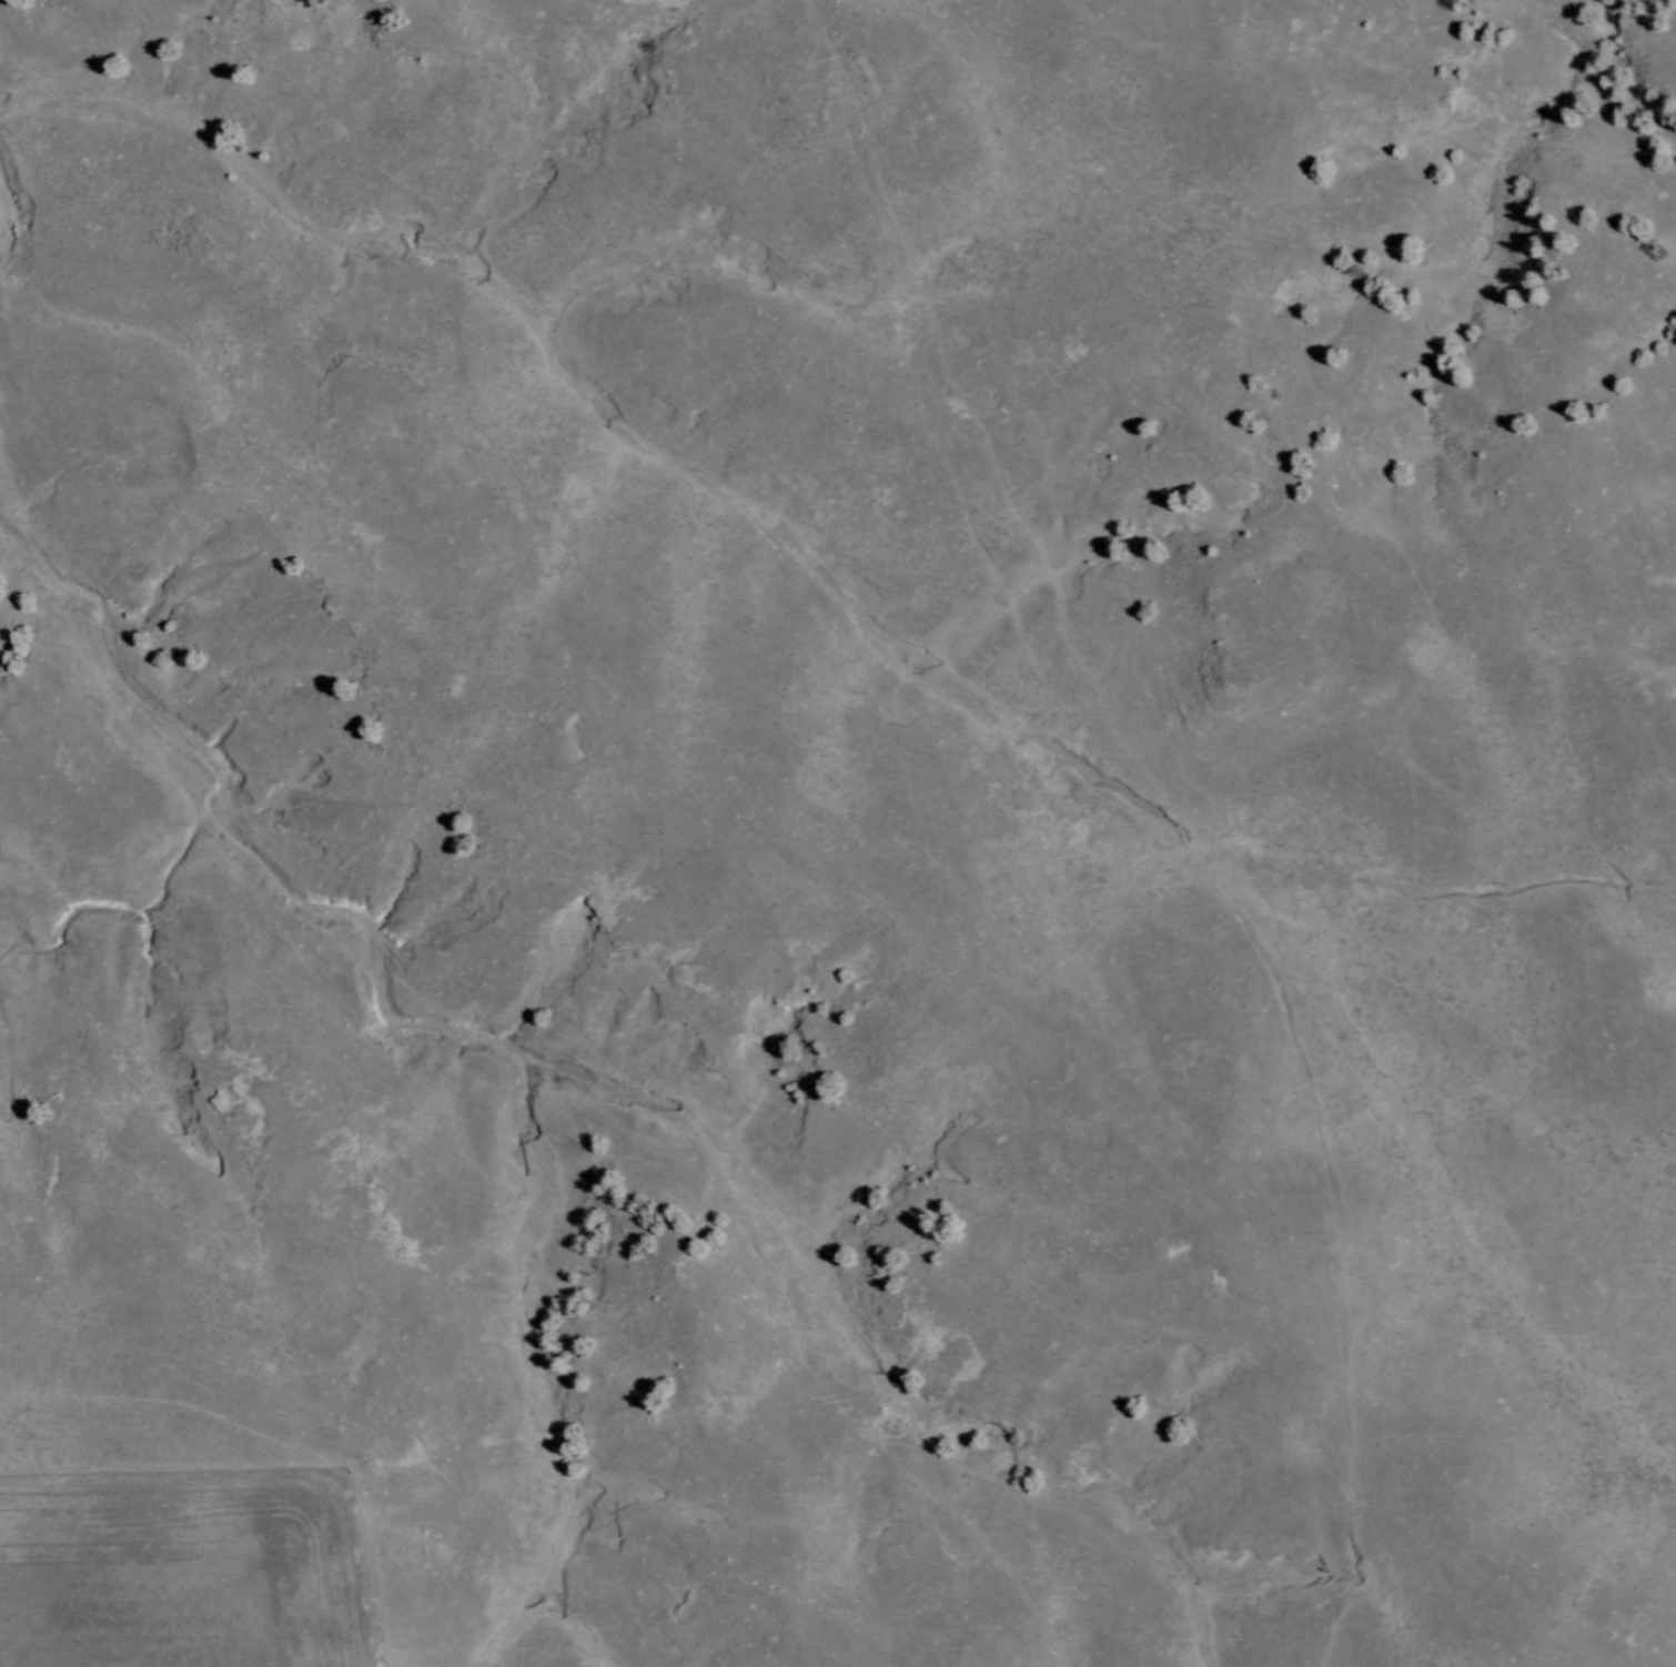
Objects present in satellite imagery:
crop: (178, 1574)

